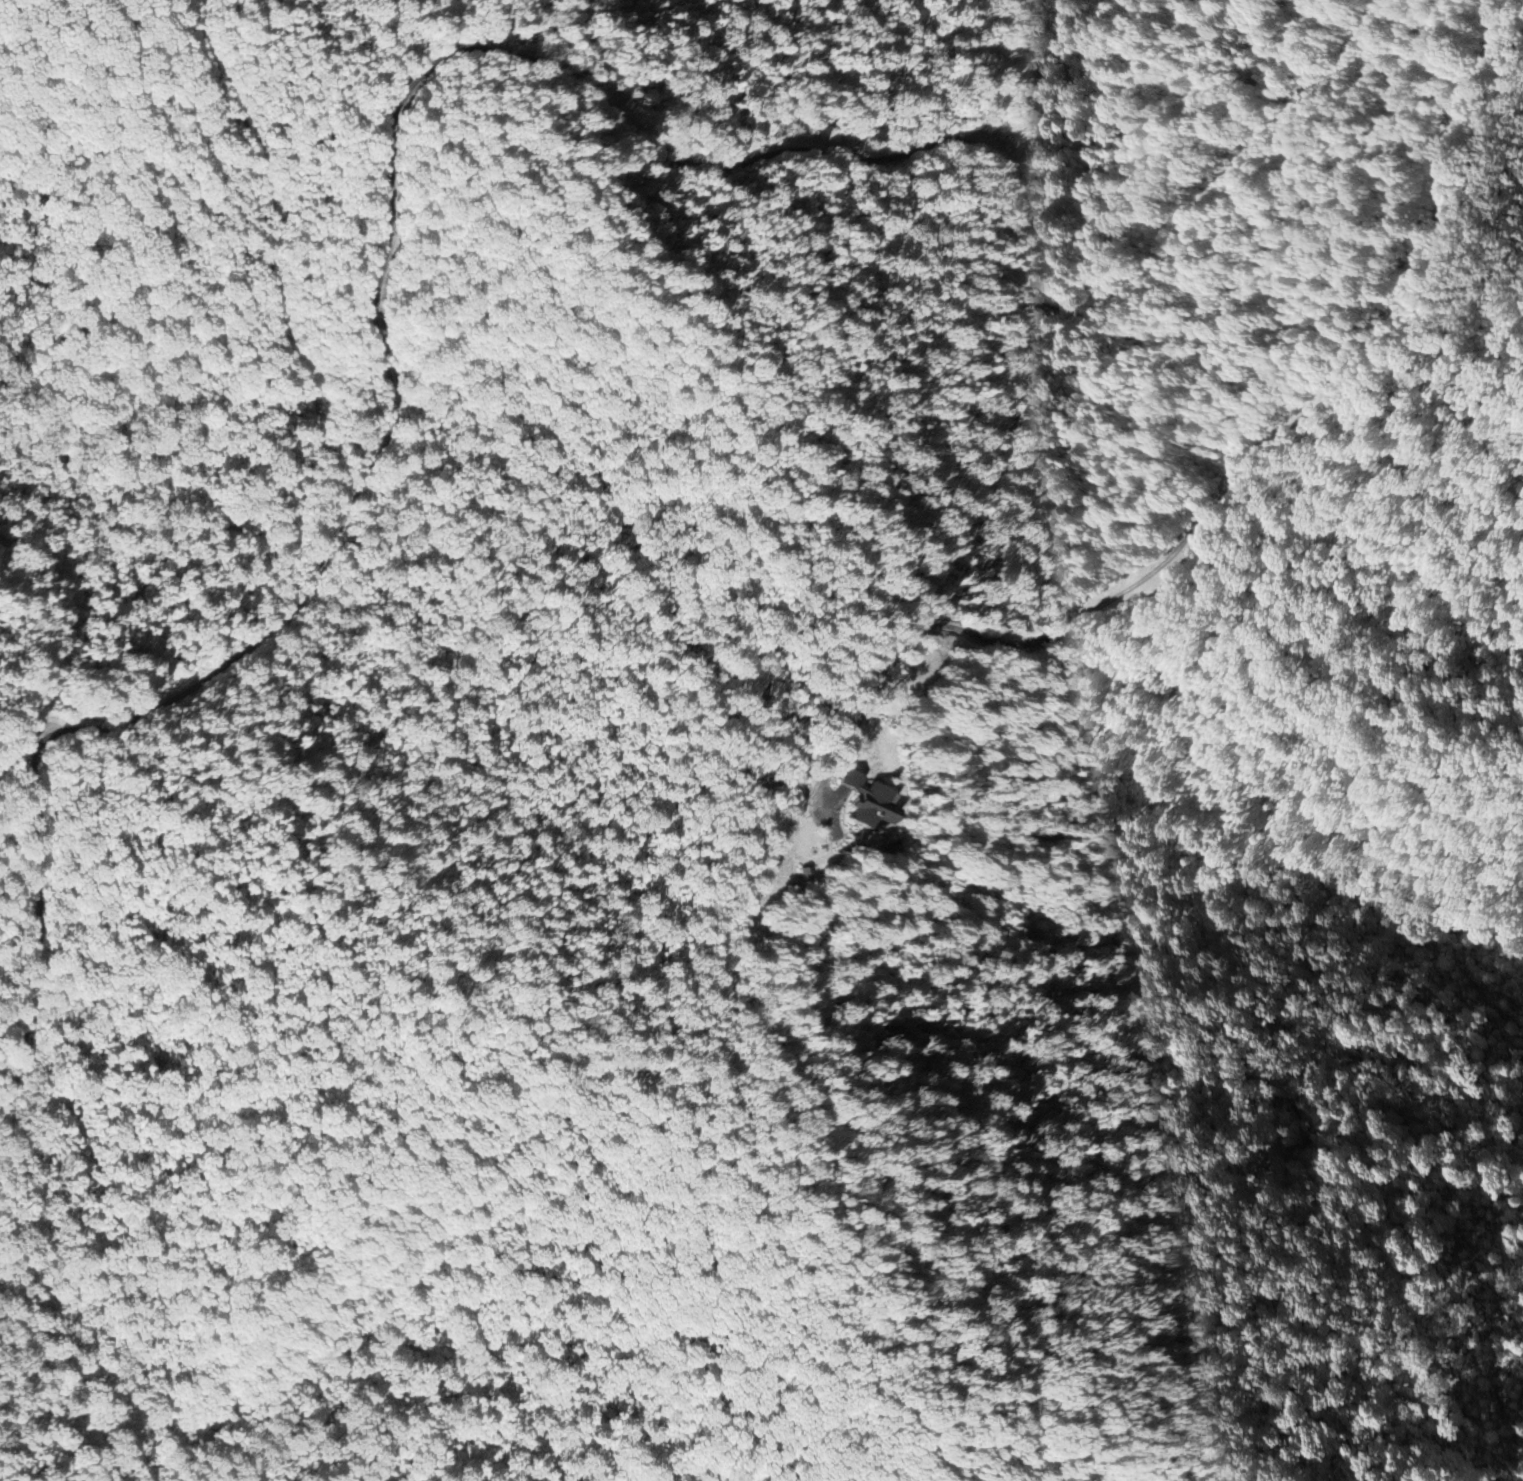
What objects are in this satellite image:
road: (432, 66)
road: (1222, 498)
building: (868, 804)
building: (803, 873)

